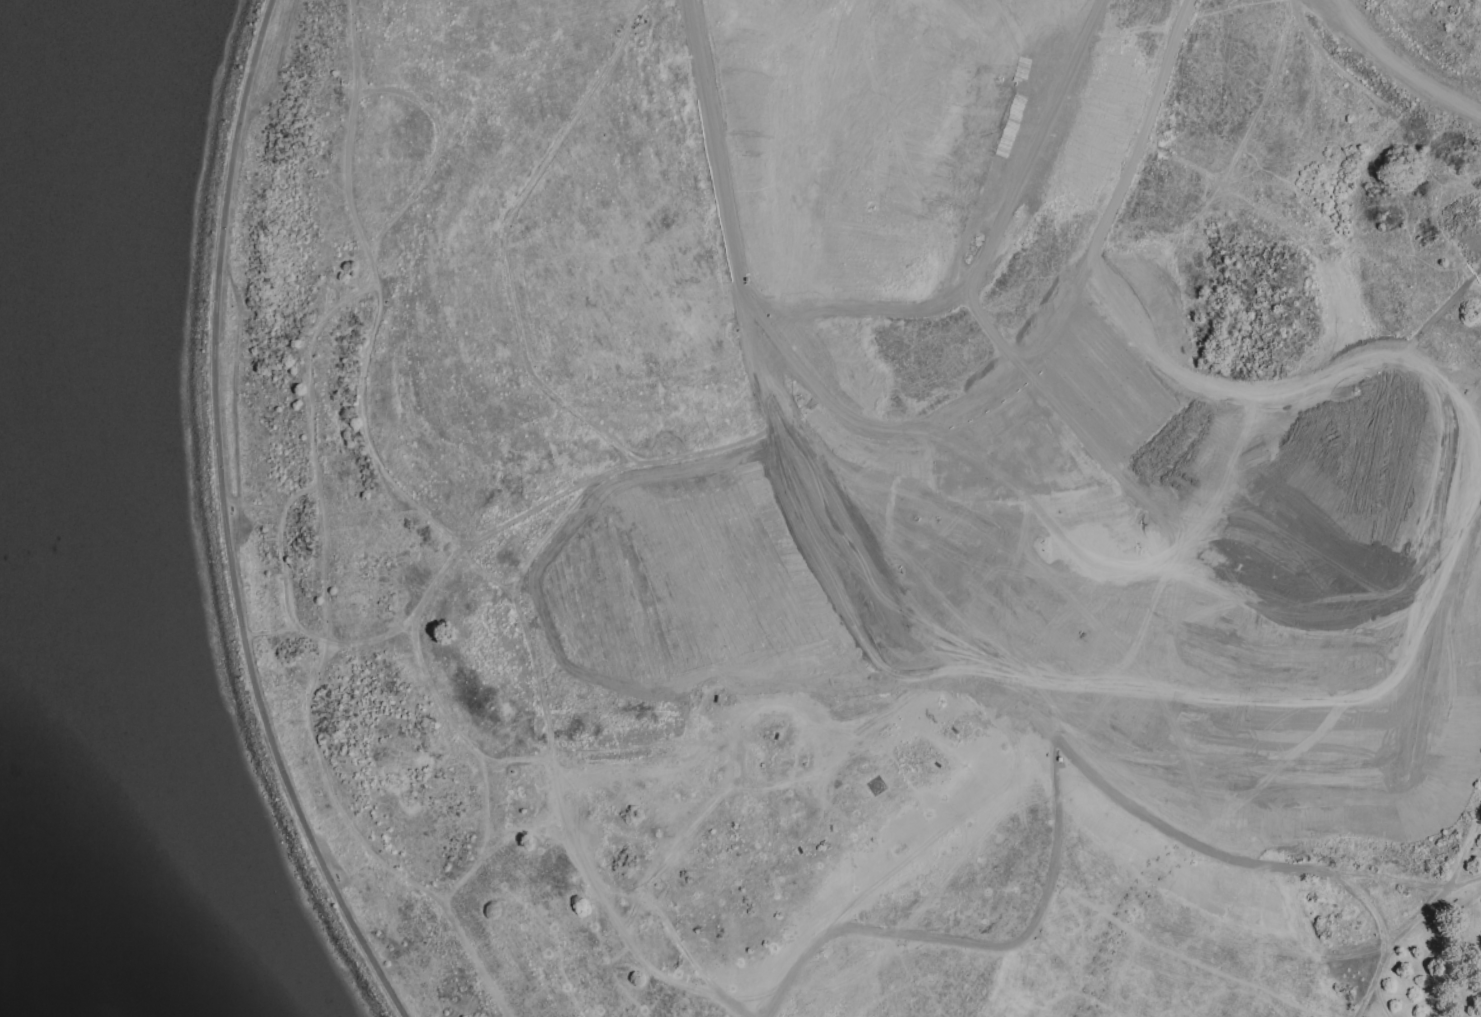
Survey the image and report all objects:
road: (1403, 63)
road: (436, 149)
road: (502, 240)
road: (372, 331)
road: (771, 414)
road: (1261, 503)
road: (226, 523)
road: (1199, 535)
road: (280, 545)
road: (439, 574)
road: (515, 602)
road: (332, 641)
road: (320, 668)
road: (755, 710)
road: (1227, 857)
road: (1465, 876)
road: (603, 900)
road: (1417, 915)
road: (977, 943)
road: (691, 961)
road: (1270, 977)

